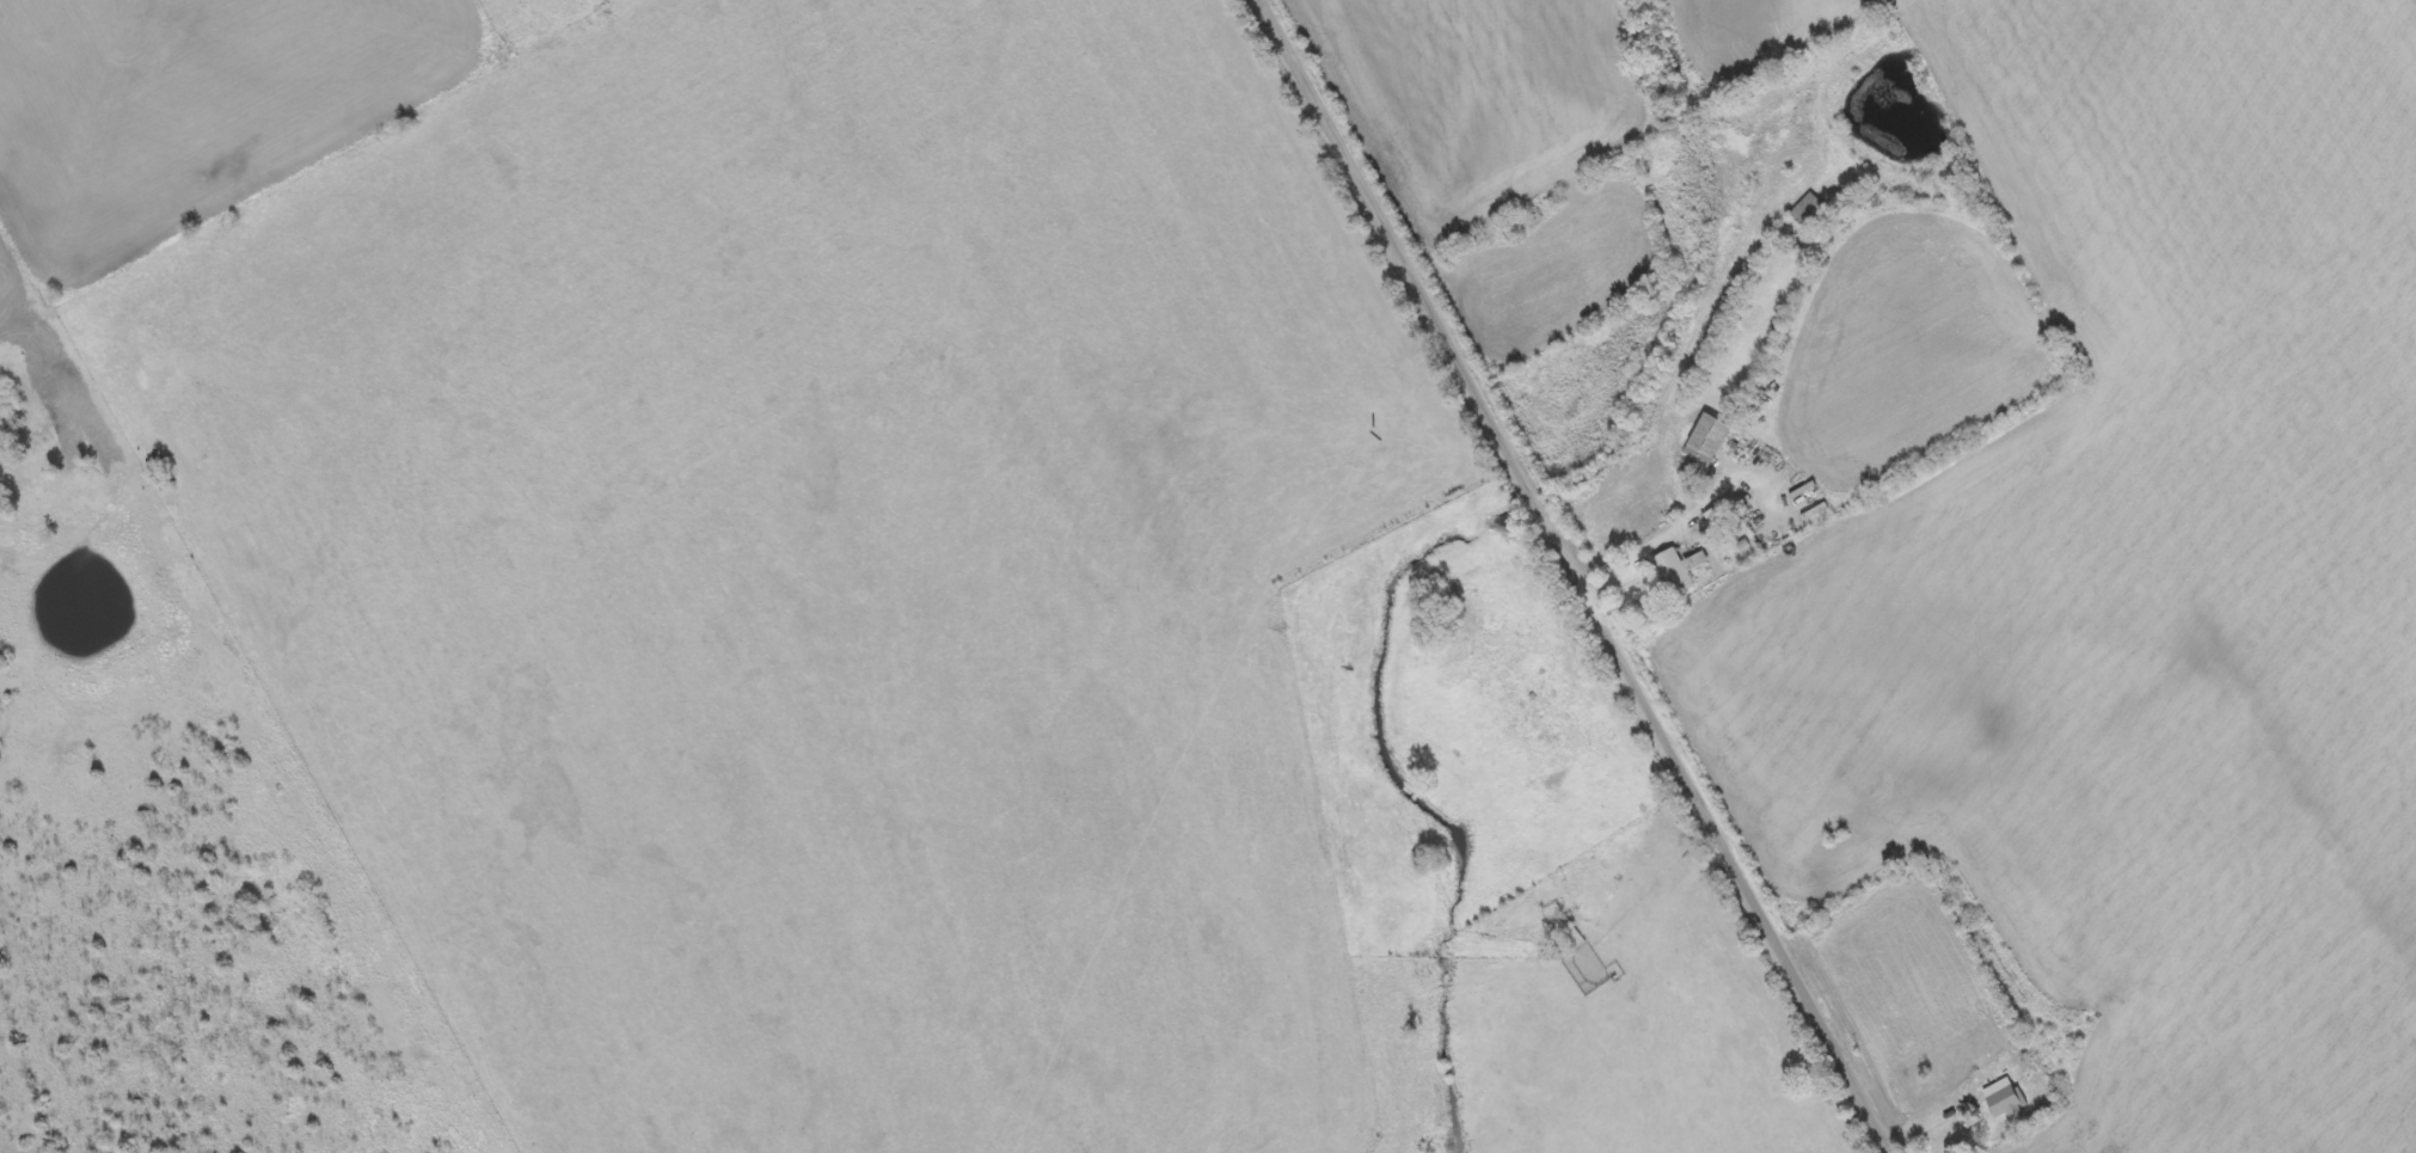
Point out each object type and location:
building: (1802, 209)
road: (1582, 576)
building: (2007, 1100)

